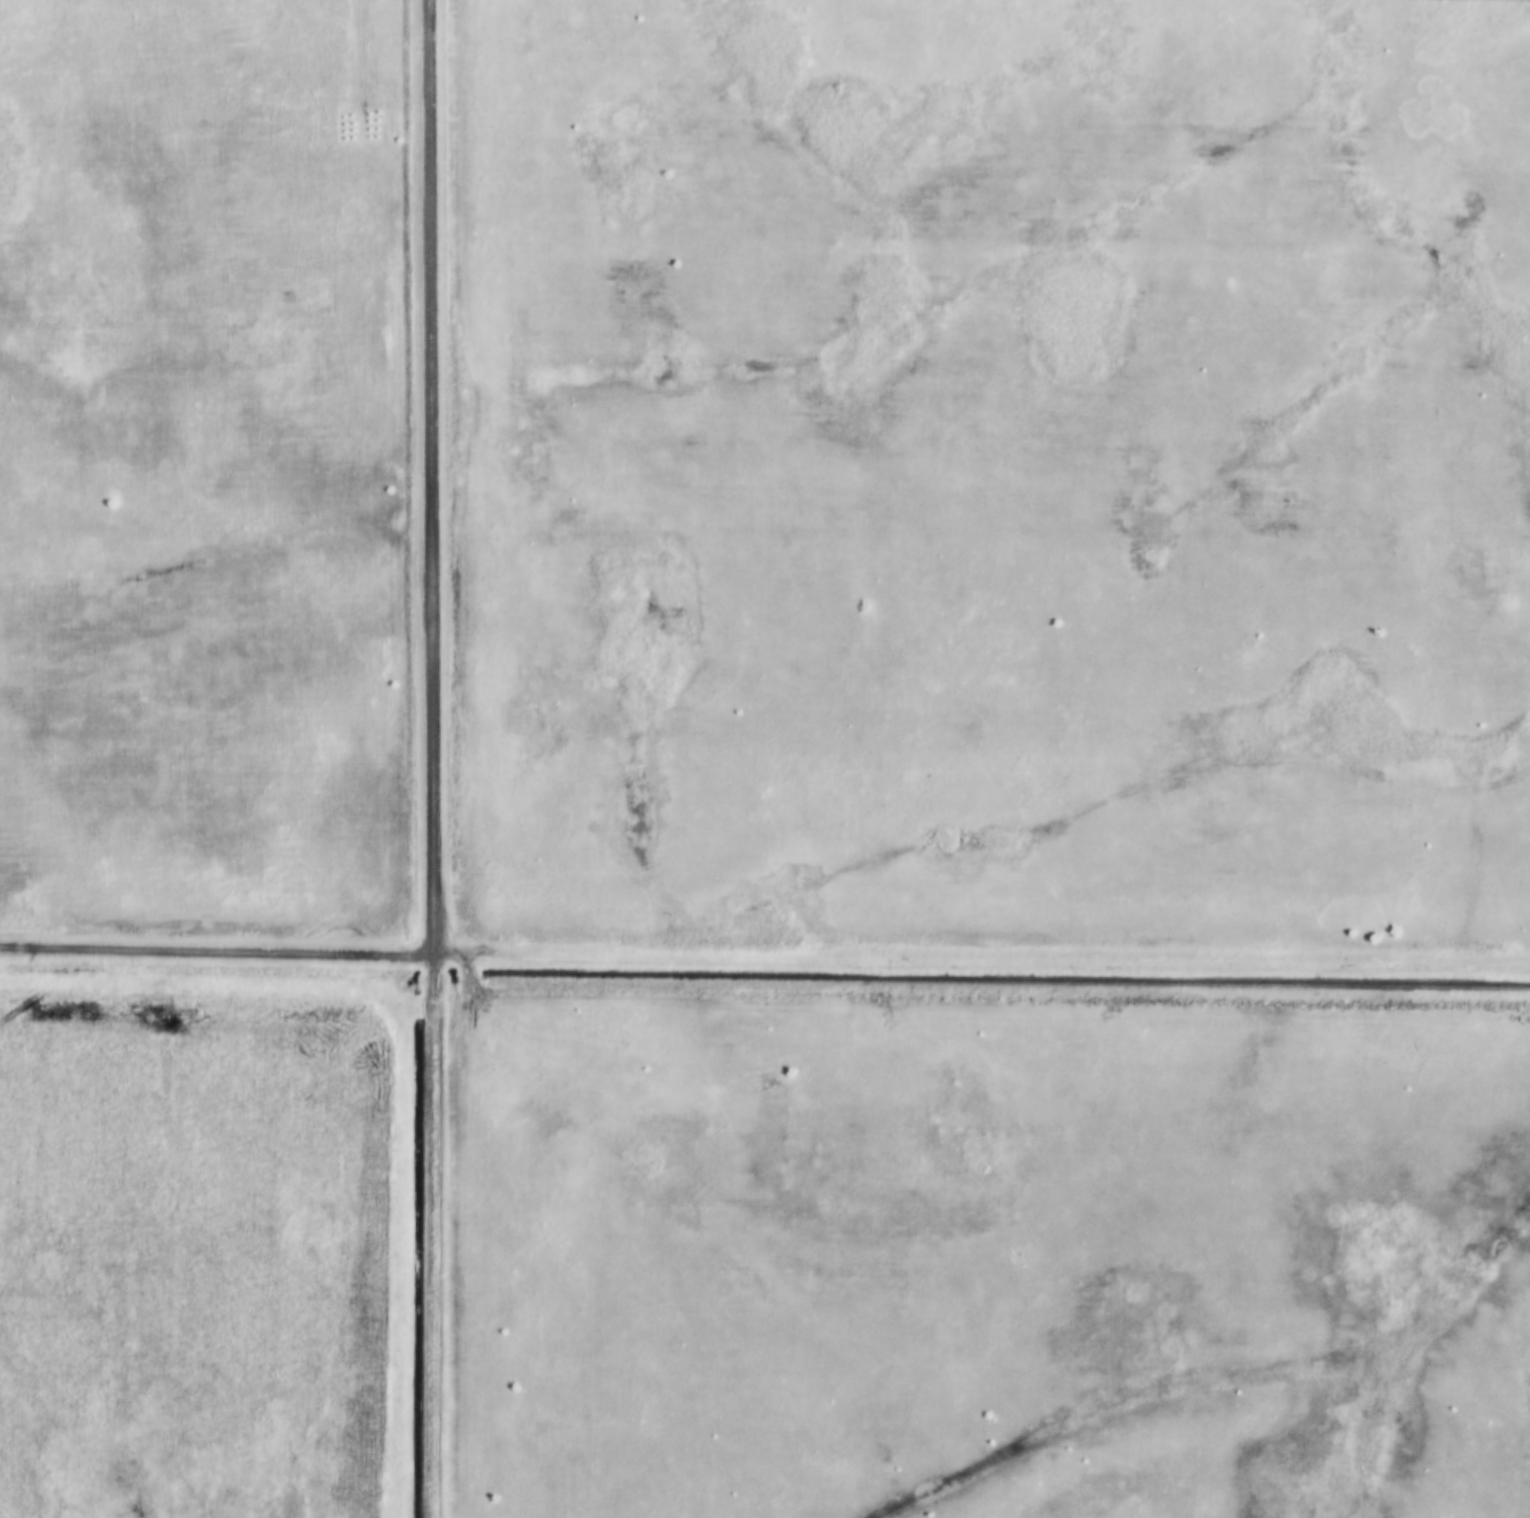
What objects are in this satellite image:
road: (435, 758)
road: (764, 960)

